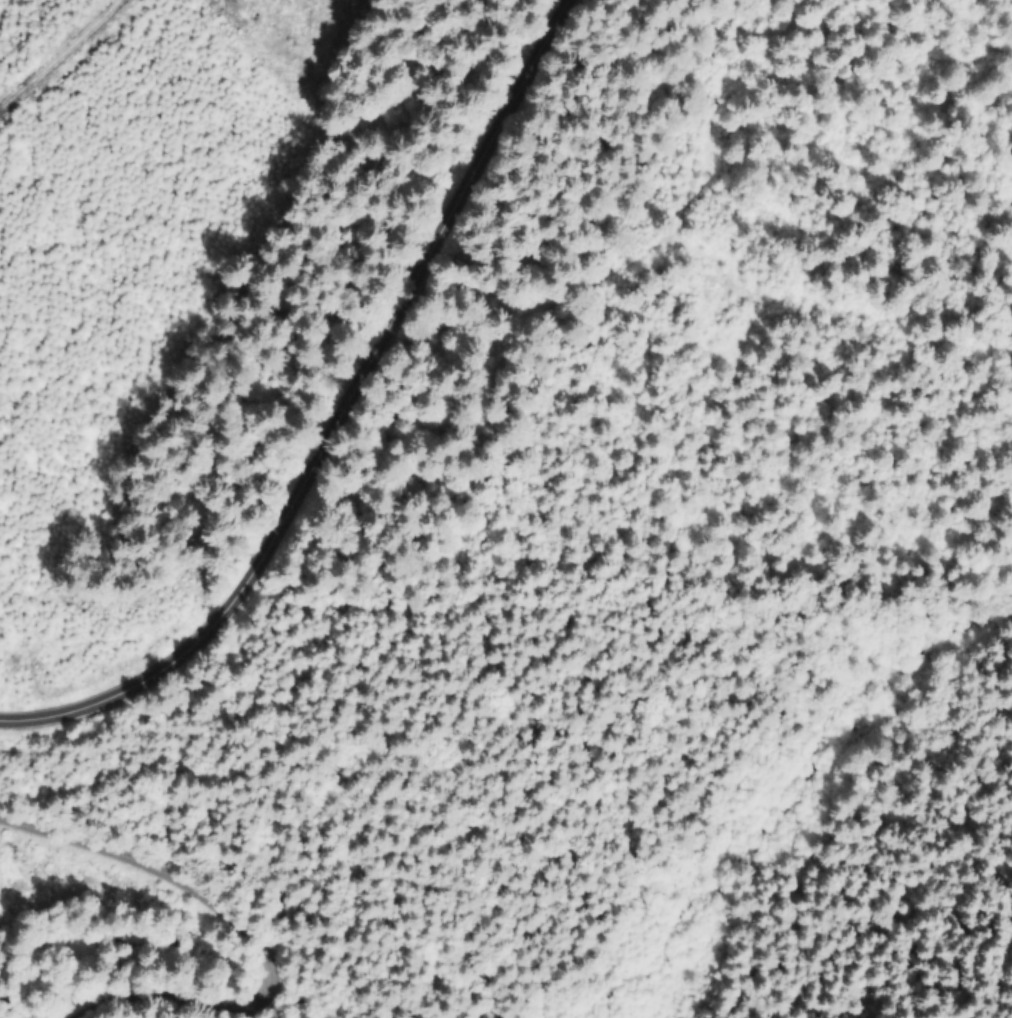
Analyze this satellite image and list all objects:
road: (336, 424)
road: (174, 873)
road: (138, 994)

